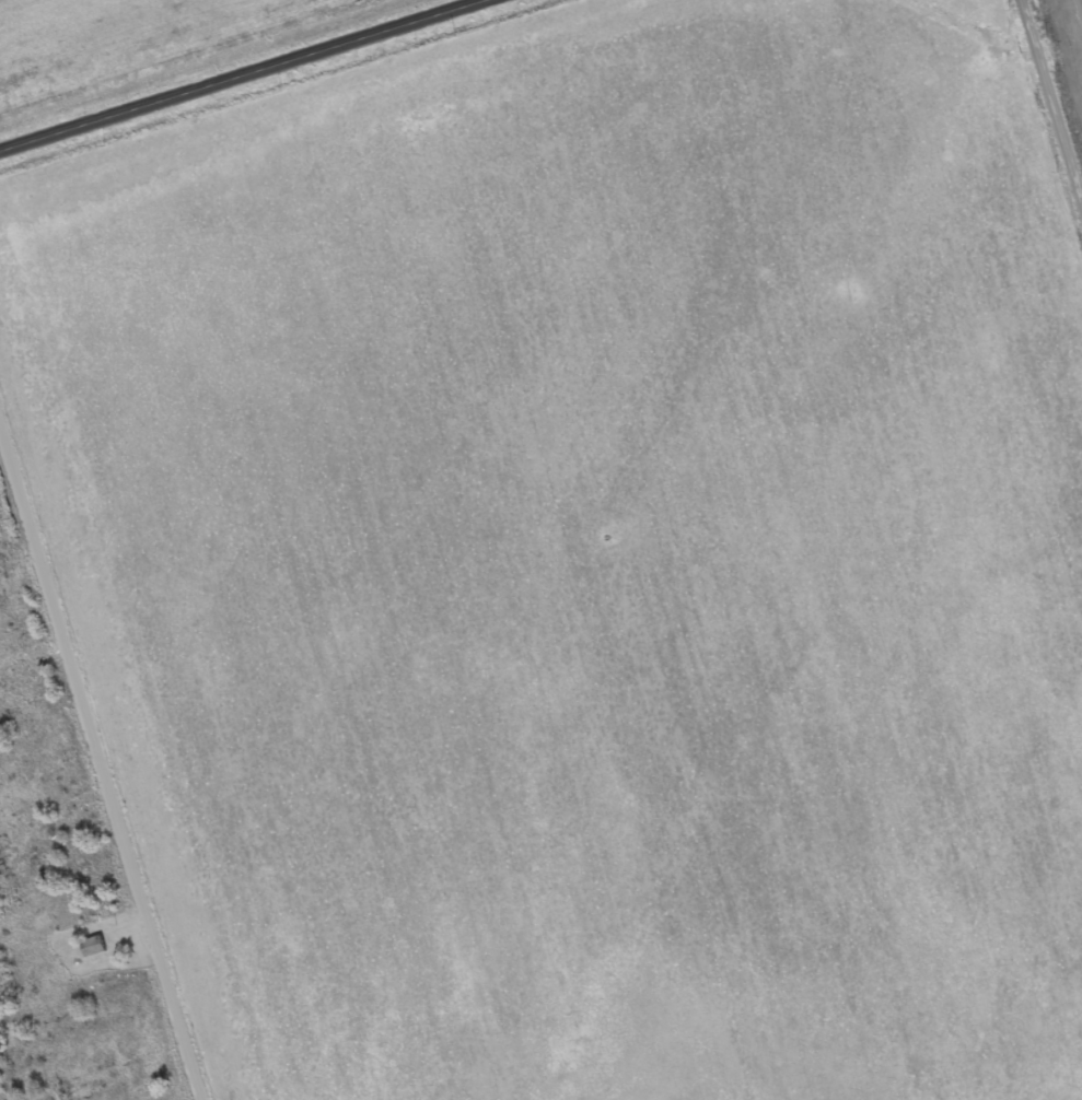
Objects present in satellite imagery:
road: (247, 79)
road: (1055, 90)
road: (1, 420)
road: (32, 653)
road: (100, 757)
road: (69, 899)
building: (94, 949)

